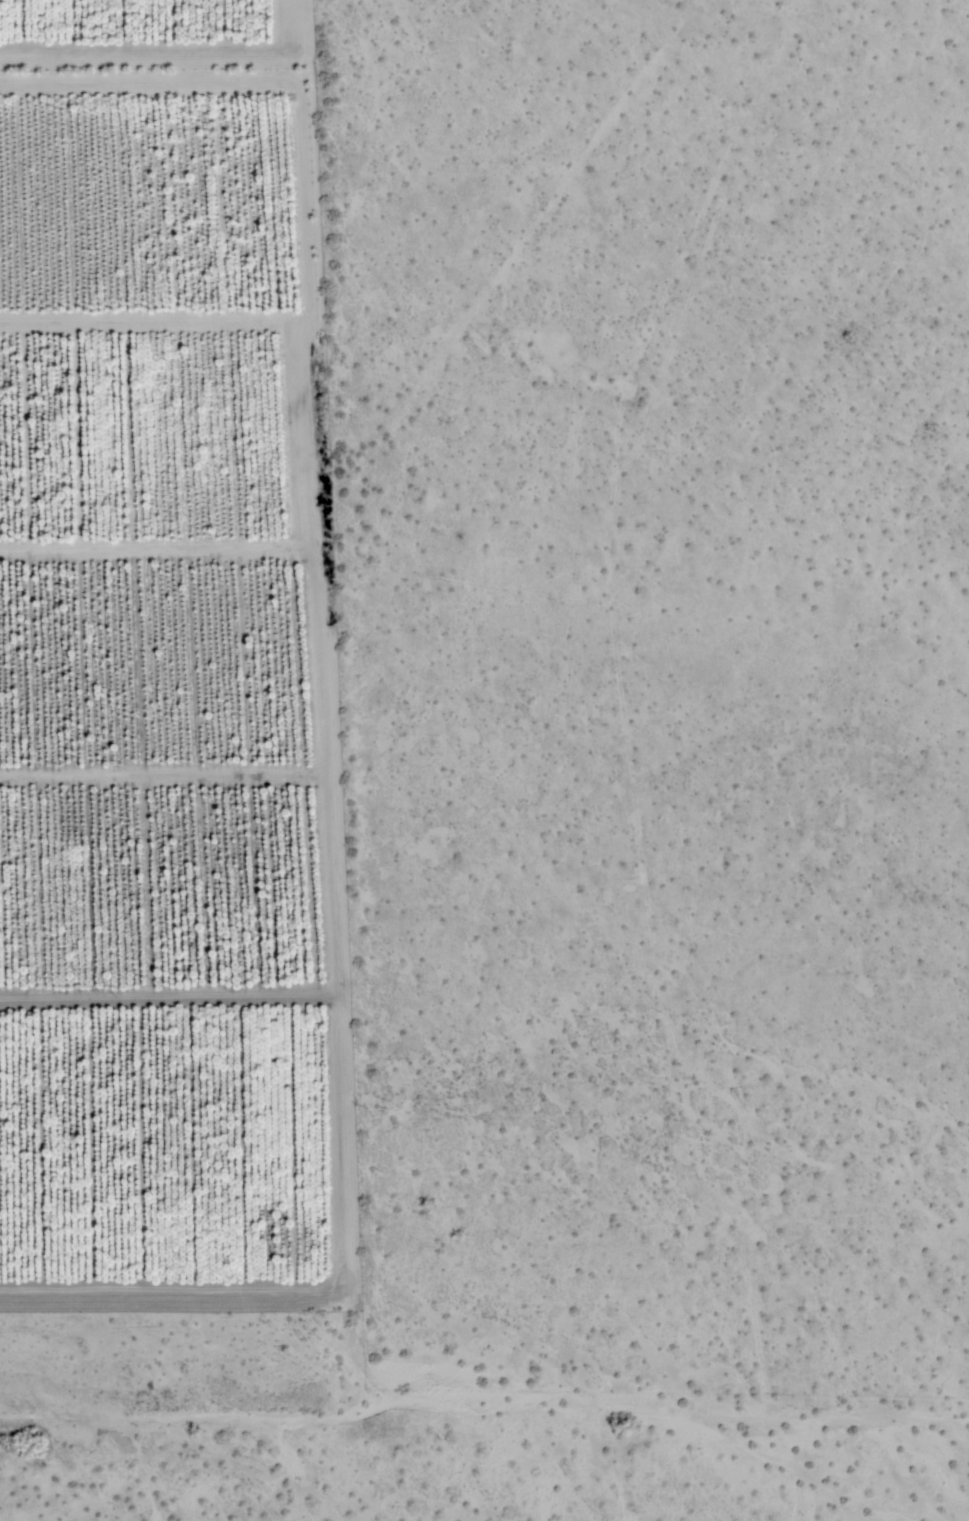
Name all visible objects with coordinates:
crop: (155, 653)

